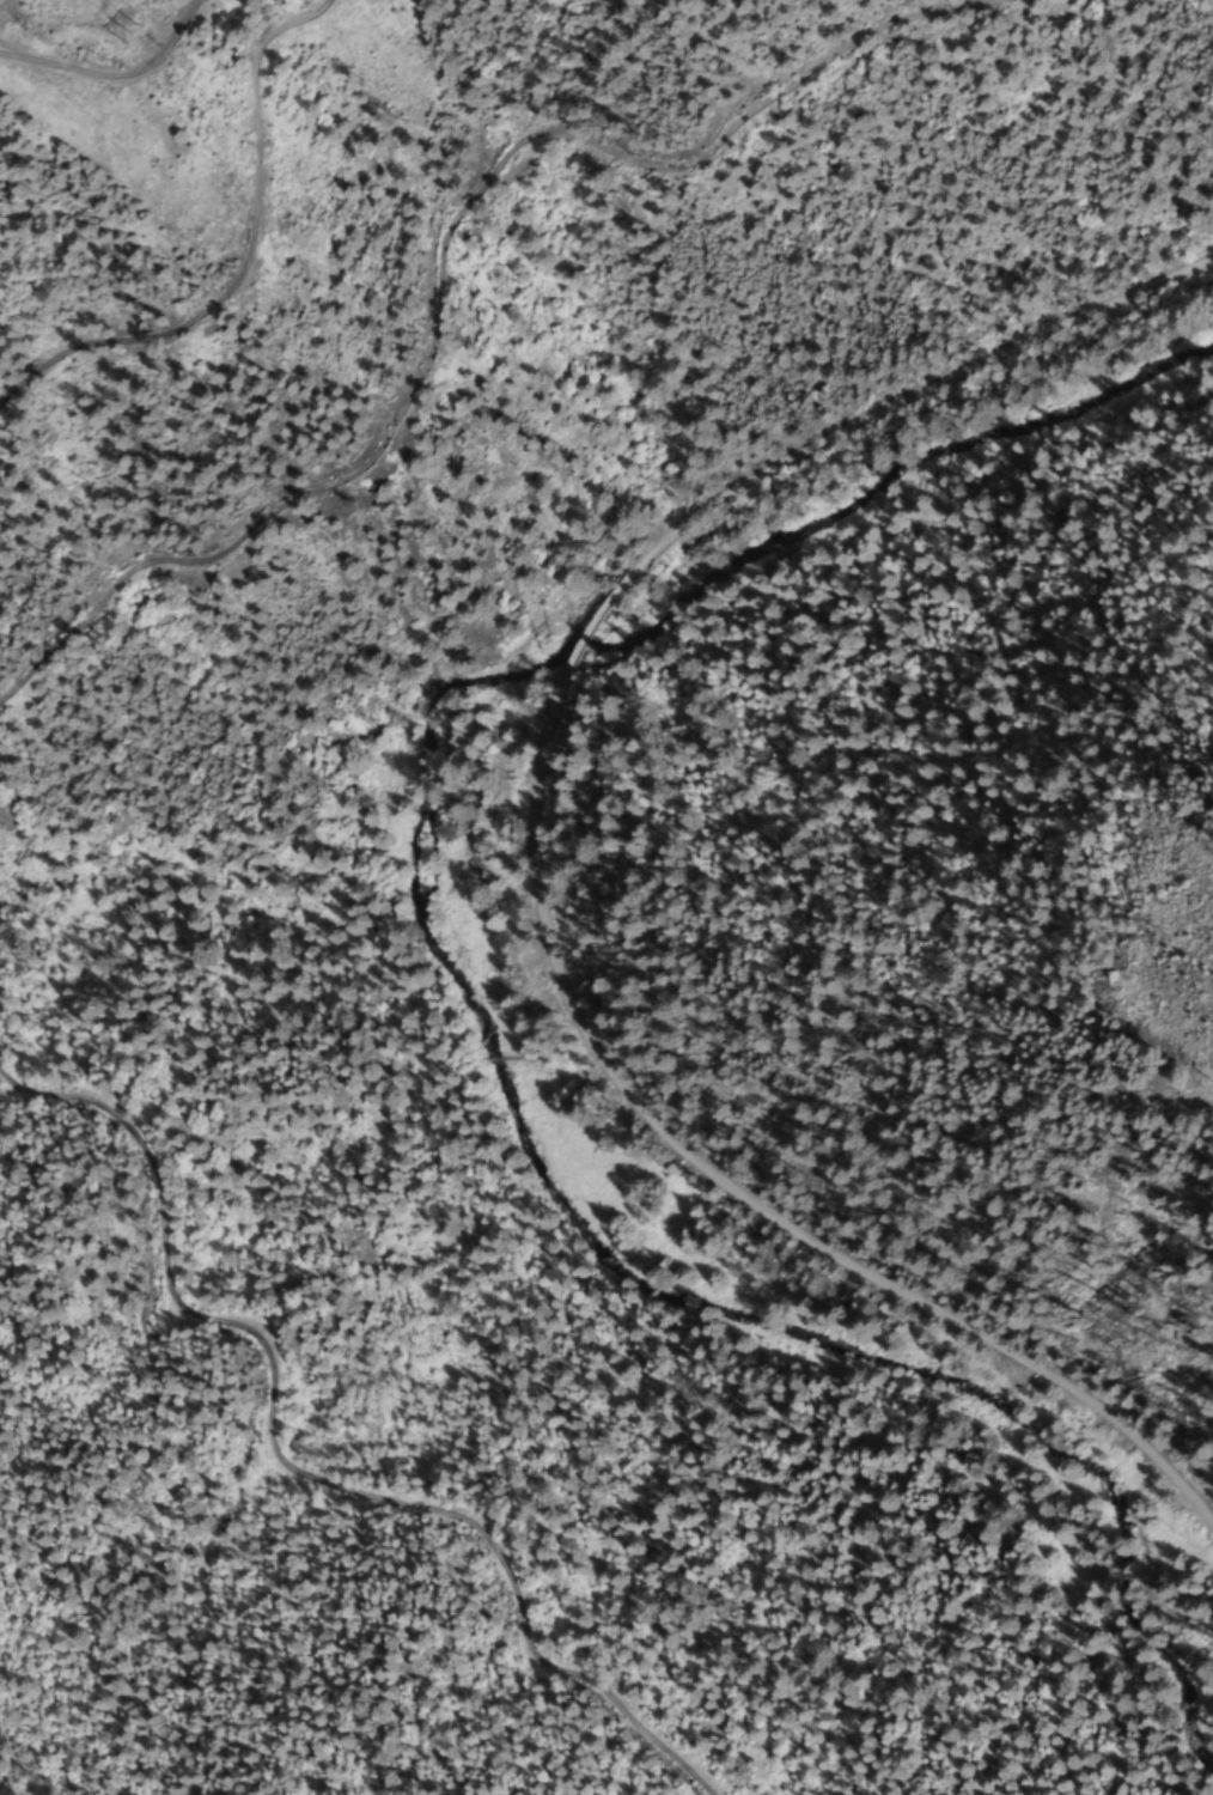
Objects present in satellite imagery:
power tower: (122, 30)
road: (896, 401)
road: (573, 651)
road: (749, 1205)

